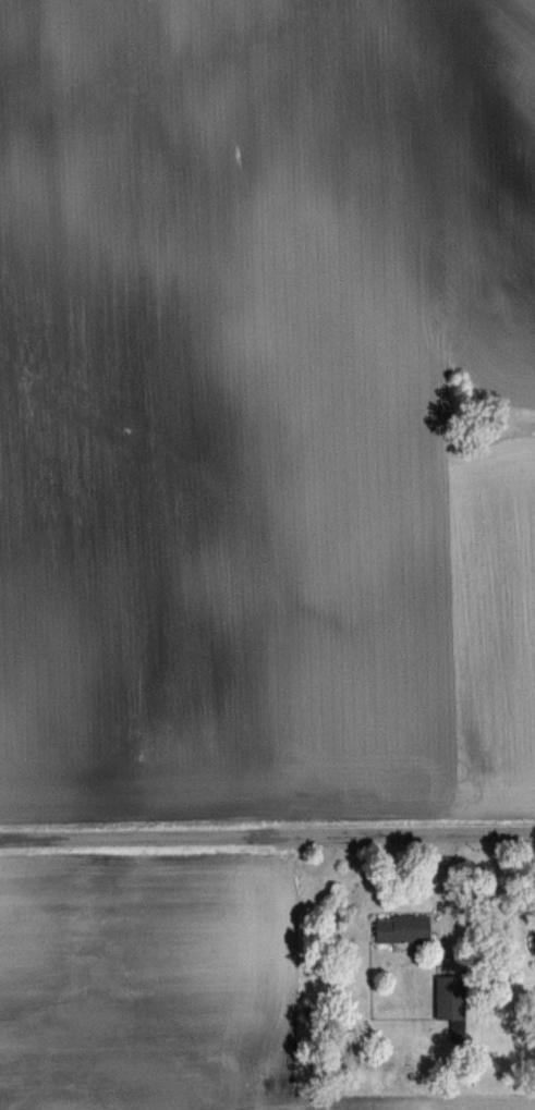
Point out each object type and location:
road: (267, 835)
road: (446, 893)
building: (401, 928)
building: (534, 946)
building: (448, 1001)

